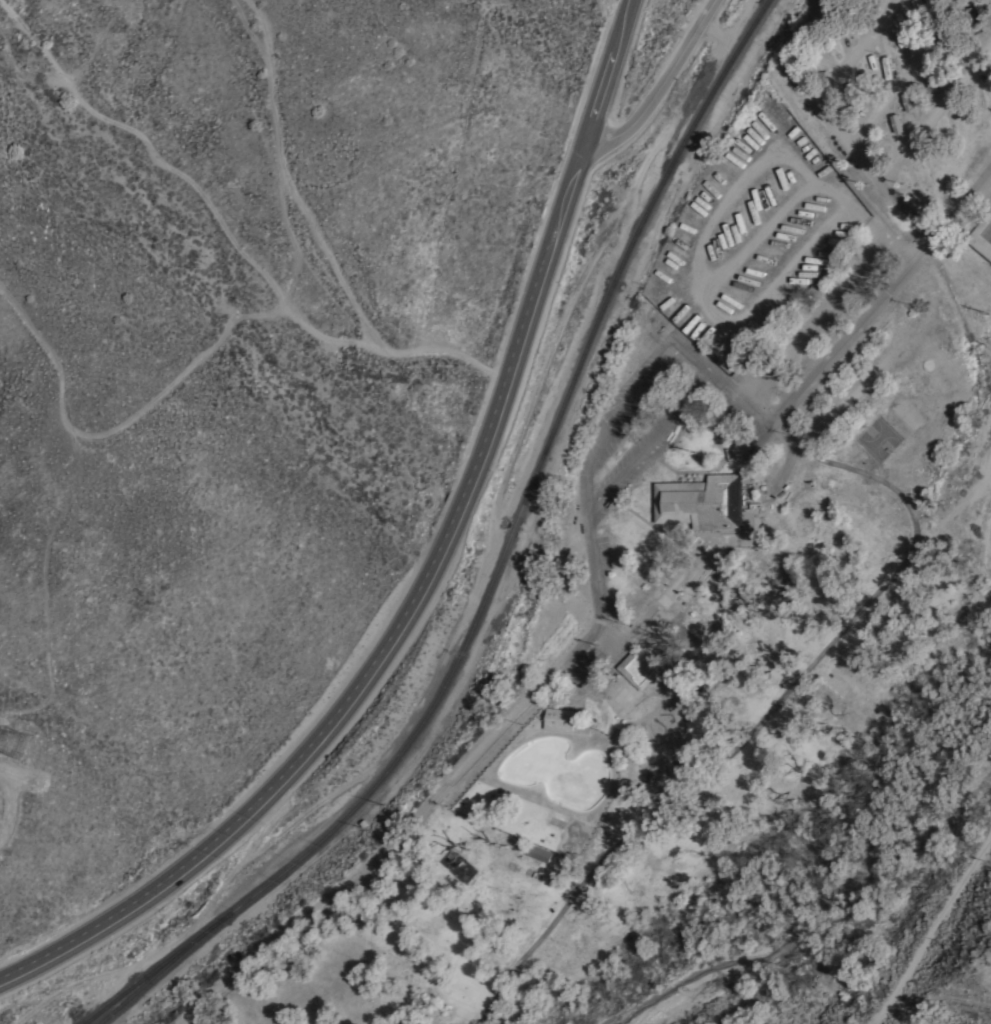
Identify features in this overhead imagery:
road: (905, 74)
road: (656, 87)
road: (826, 92)
road: (939, 114)
road: (912, 210)
park: (986, 232)
road: (881, 300)
railway: (609, 301)
road: (632, 402)
park: (879, 439)
road: (729, 446)
road: (694, 473)
building: (701, 502)
road: (672, 534)
building: (755, 534)
road: (427, 570)
road: (582, 646)
building: (640, 667)
building: (558, 720)
road: (620, 720)
power tower: (32, 747)
railway: (374, 786)
building: (539, 854)
road: (930, 937)
railway: (153, 969)
road: (245, 969)
railway: (161, 970)

